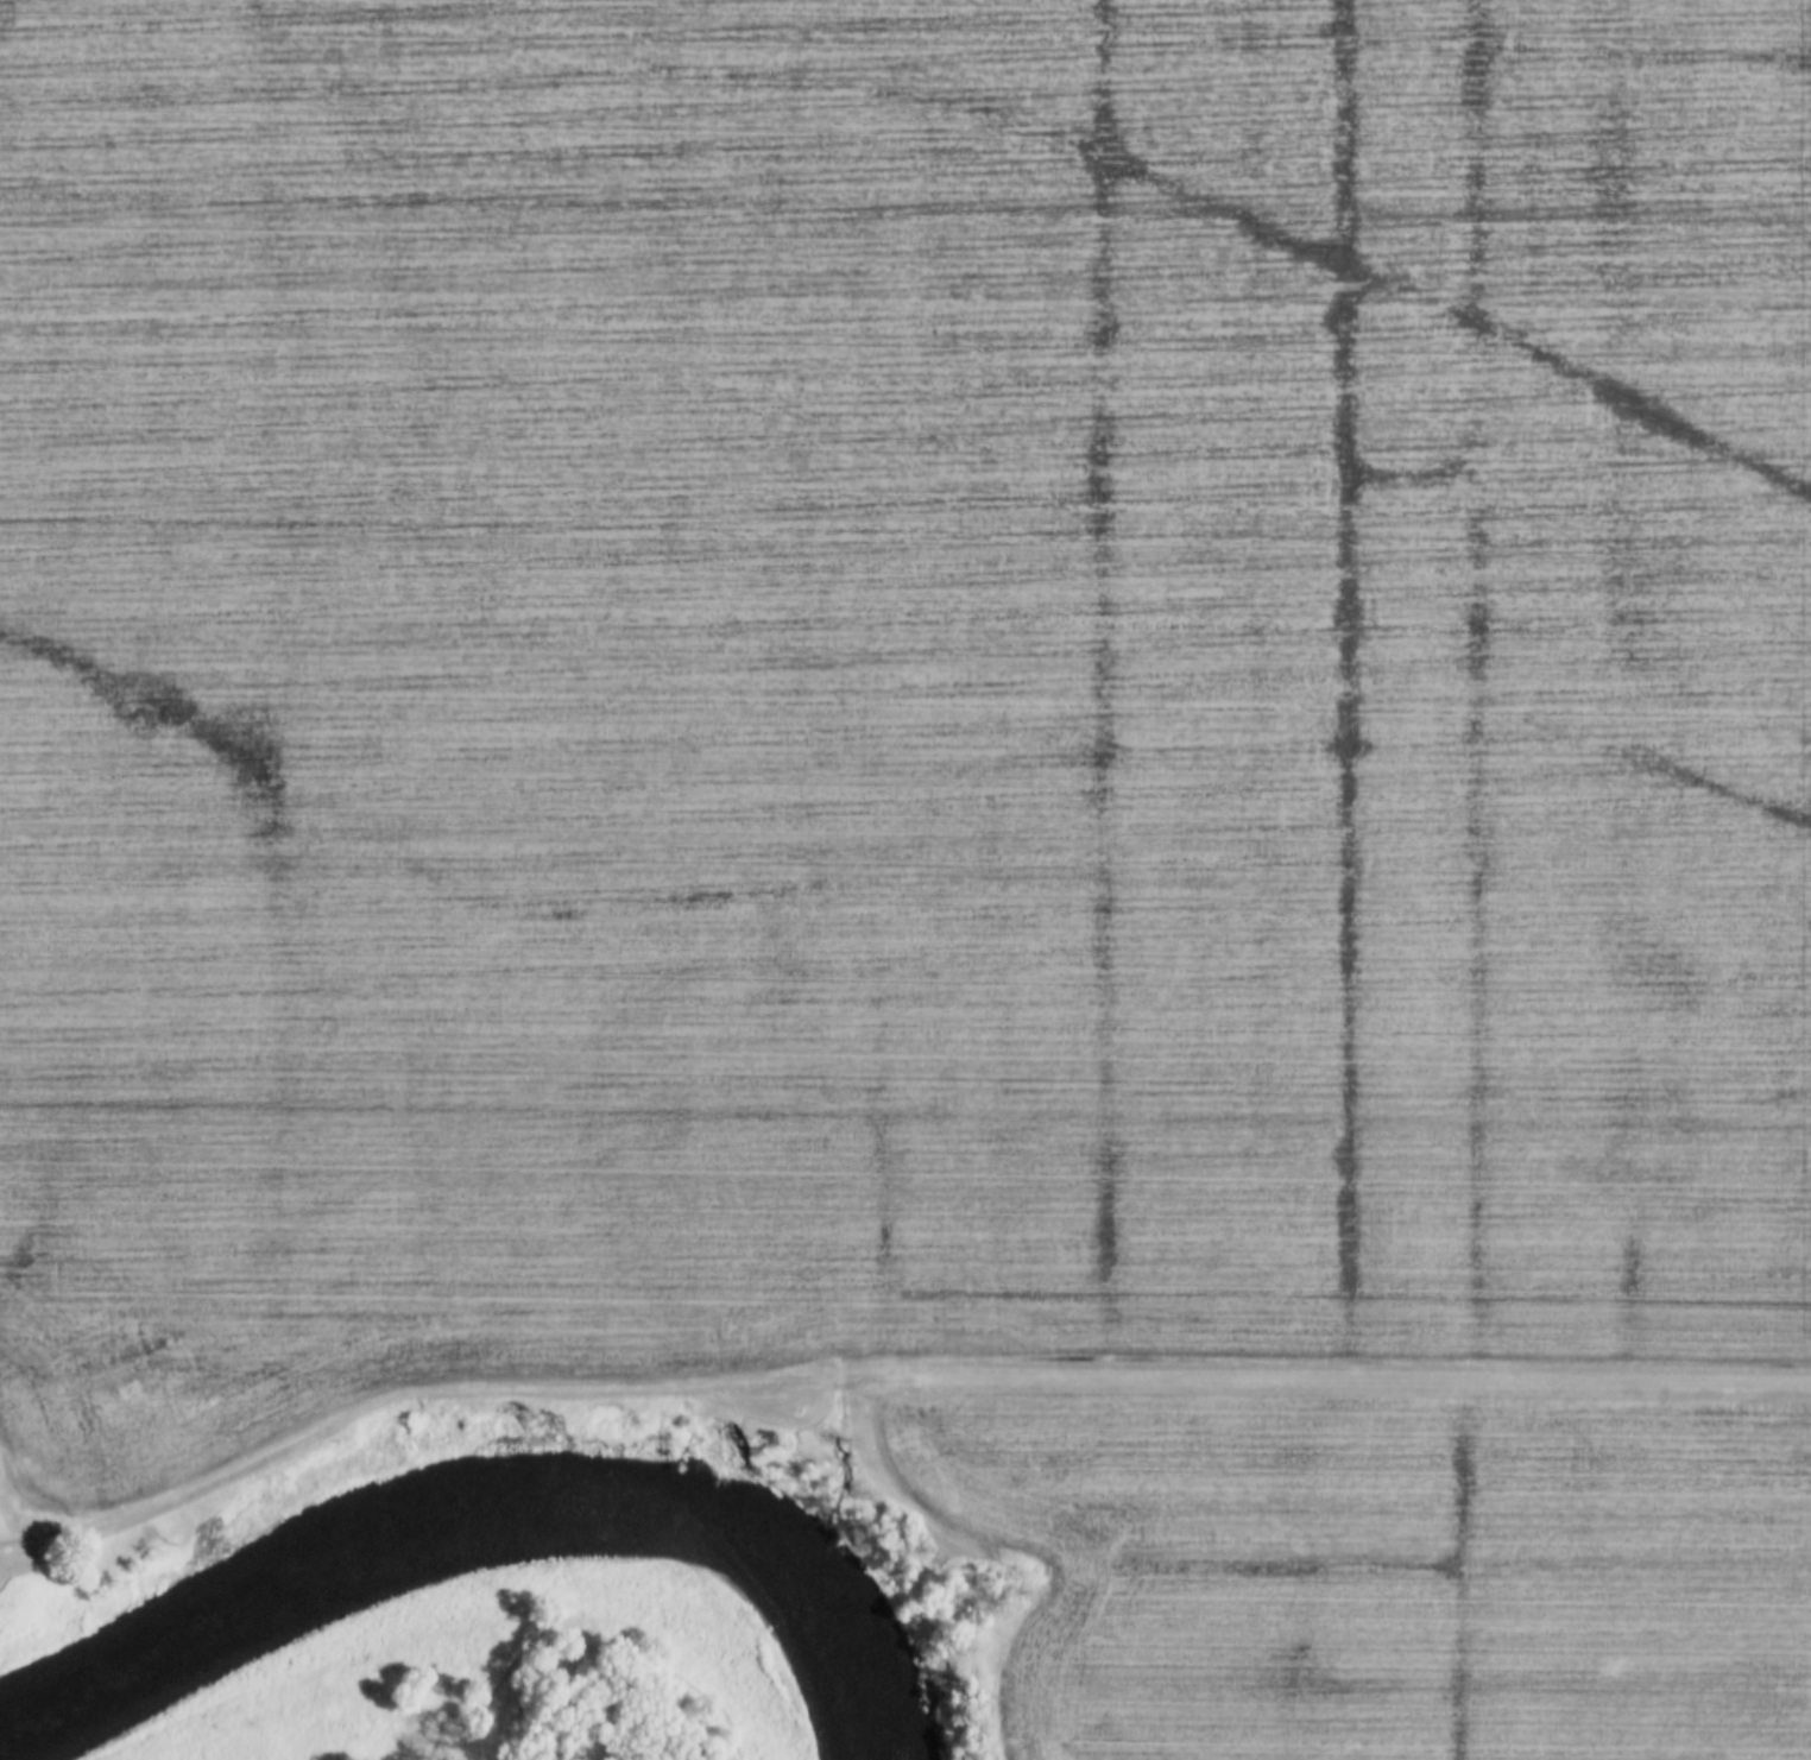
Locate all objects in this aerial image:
road: (892, 1351)
river: (463, 1534)

